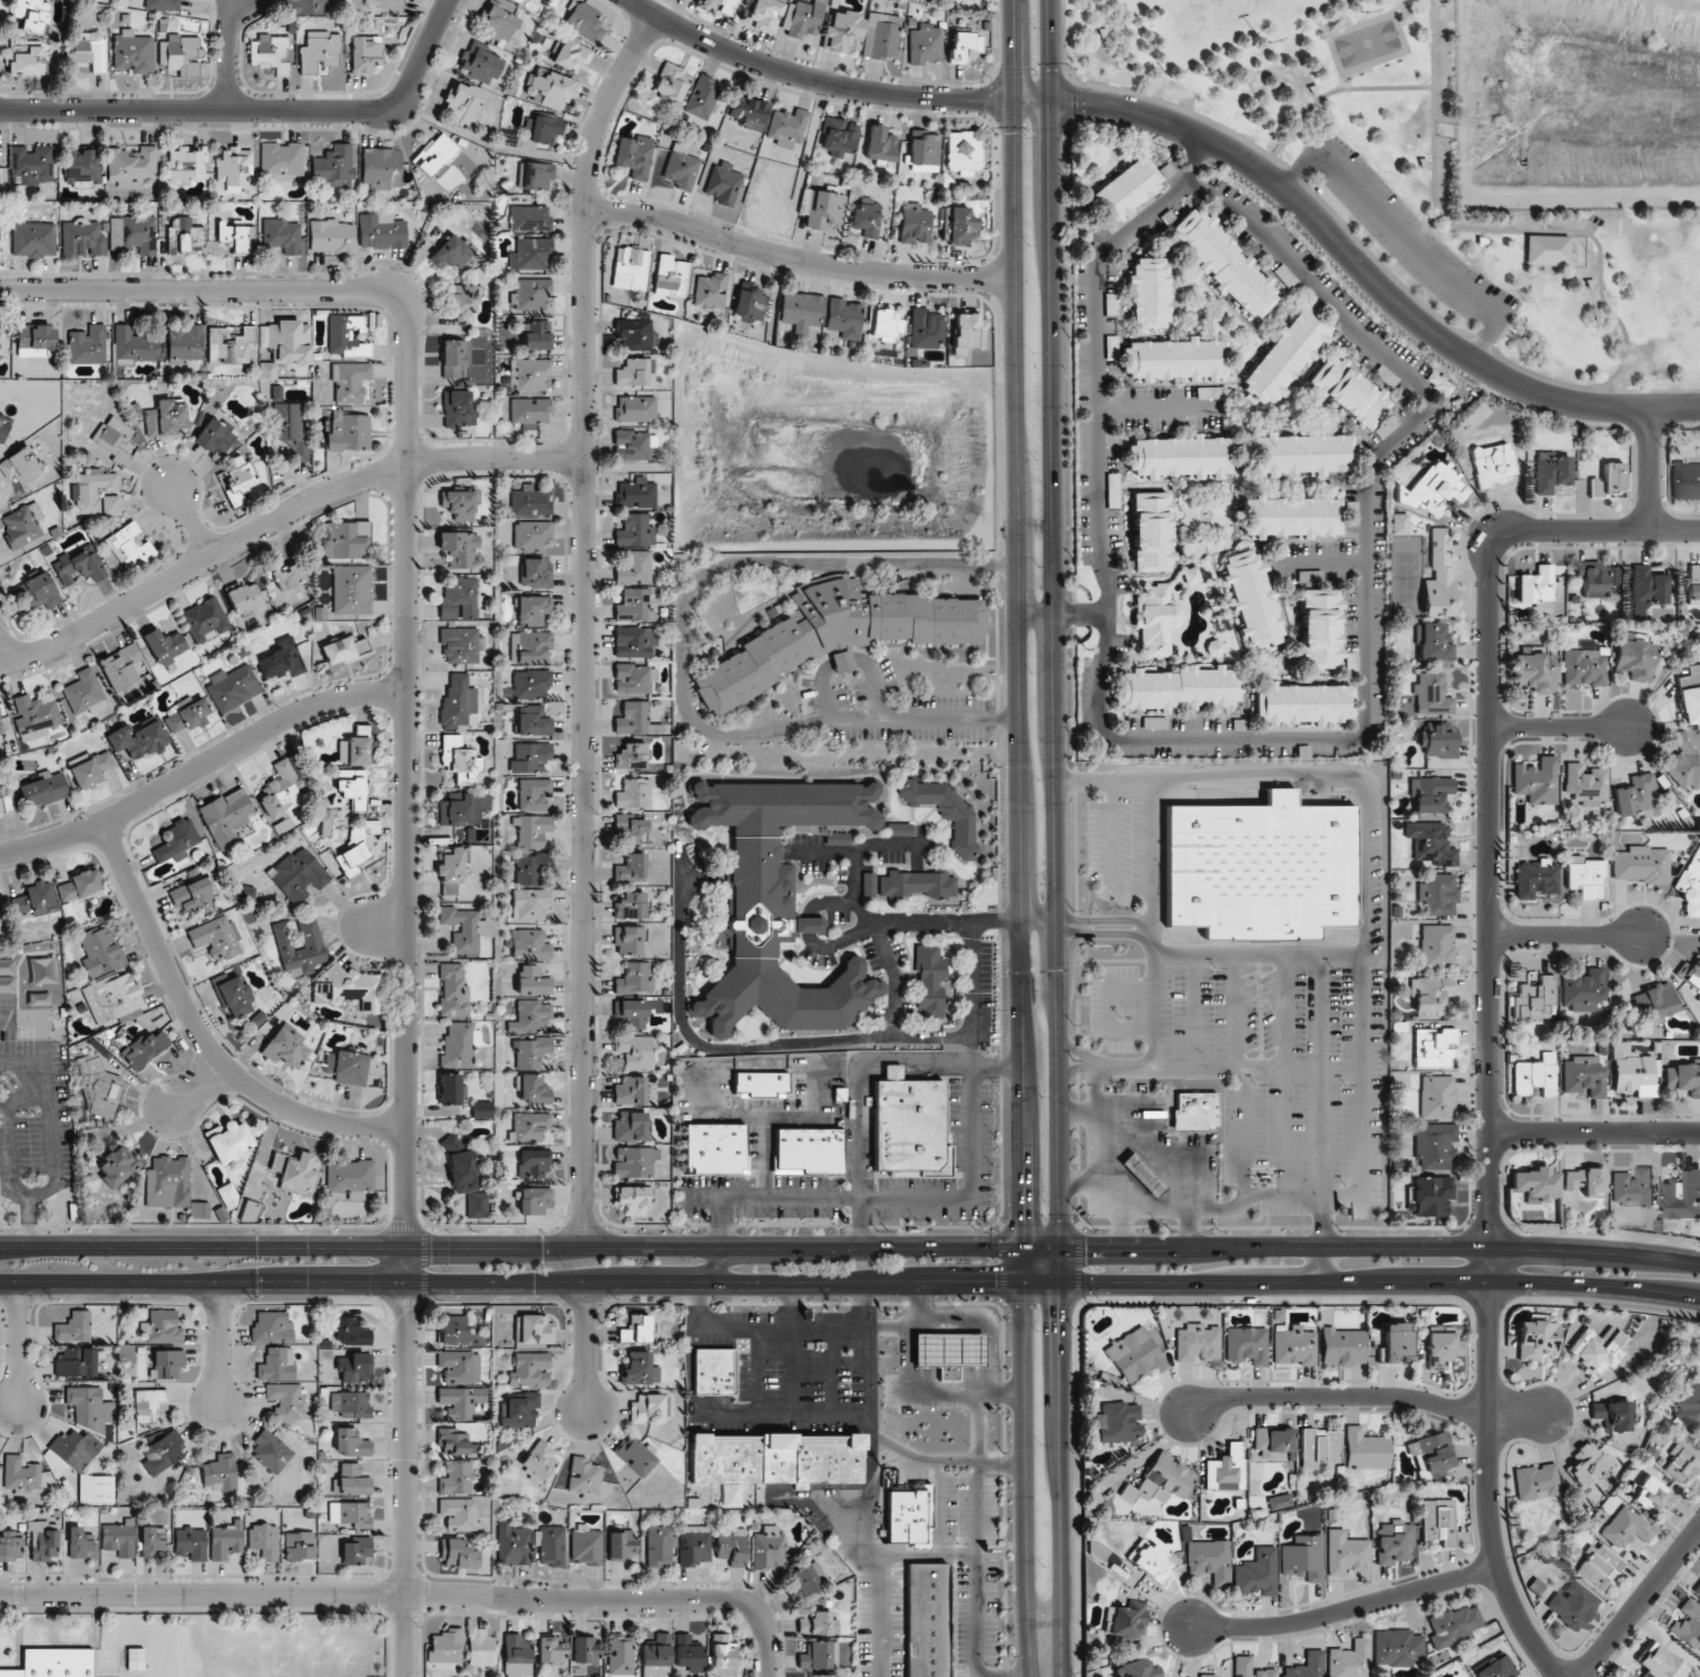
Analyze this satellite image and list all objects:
building: (517, 0)
building: (529, 0)
building: (163, 4)
building: (391, 4)
building: (727, 6)
building: (311, 7)
building: (32, 13)
building: (765, 16)
building: (803, 19)
building: (586, 21)
building: (500, 23)
building: (843, 31)
building: (881, 38)
park: (1368, 43)
building: (925, 45)
building: (965, 47)
building: (88, 51)
building: (134, 51)
building: (319, 51)
building: (271, 52)
building: (365, 53)
building: (182, 55)
road: (228, 55)
building: (573, 57)
building: (28, 62)
building: (481, 63)
traffic signals: (1017, 66)
building: (671, 81)
road: (1341, 84)
building: (550, 88)
road: (1336, 89)
traffic signals: (979, 101)
building: (461, 102)
traffic signals: (1081, 102)
road: (257, 110)
building: (749, 112)
building: (787, 127)
building: (839, 137)
road: (1199, 137)
traffic signals: (1052, 138)
building: (880, 144)
building: (964, 150)
building: (924, 151)
building: (434, 154)
building: (635, 156)
building: (281, 160)
road: (1192, 161)
building: (185, 164)
building: (31, 165)
building: (379, 166)
building: (82, 167)
building: (333, 167)
building: (234, 168)
building: (681, 169)
building: (535, 176)
building: (394, 177)
park: (1413, 177)
building: (723, 184)
building: (1127, 188)
road: (1316, 195)
building: (529, 218)
building: (866, 218)
building: (0, 219)
building: (915, 224)
building: (961, 226)
building: (381, 231)
road: (1498, 231)
road: (1544, 234)
building: (133, 235)
building: (184, 235)
building: (281, 235)
building: (238, 236)
building: (331, 236)
building: (82, 238)
building: (33, 239)
road: (1405, 239)
building: (1546, 251)
building: (451, 253)
building: (531, 254)
road: (799, 258)
building: (1224, 264)
building: (631, 268)
building: (671, 276)
building: (710, 288)
building: (1150, 293)
building: (531, 294)
building: (463, 303)
building: (750, 304)
building: (801, 310)
building: (843, 318)
building: (883, 323)
building: (926, 330)
building: (968, 332)
building: (346, 335)
building: (537, 335)
building: (635, 335)
building: (2, 340)
building: (36, 341)
building: (186, 342)
building: (216, 344)
building: (244, 344)
building: (87, 345)
building: (134, 345)
building: (286, 345)
building: (453, 357)
building: (1286, 357)
road: (1389, 357)
building: (1173, 360)
building: (634, 372)
building: (533, 374)
building: (350, 381)
building: (1439, 384)
building: (1348, 392)
road: (1159, 408)
building: (457, 409)
building: (636, 409)
building: (3, 428)
building: (291, 430)
building: (349, 431)
building: (216, 437)
building: (116, 439)
building: (635, 445)
building: (1302, 454)
building: (1181, 458)
building: (1493, 463)
building: (21, 465)
road: (1651, 470)
building: (1551, 472)
building: (240, 480)
building: (1608, 481)
building: (1686, 481)
building: (1434, 489)
building: (86, 492)
building: (636, 493)
building: (530, 501)
building: (460, 503)
building: (1291, 517)
road: (279, 518)
road: (192, 522)
building: (1399, 523)
building: (22, 524)
building: (636, 530)
building: (1151, 532)
building: (530, 535)
building: (349, 540)
building: (130, 547)
building: (460, 549)
building: (79, 567)
building: (634, 568)
building: (535, 572)
building: (289, 577)
building: (1591, 577)
building: (1439, 579)
building: (1693, 585)
building: (1536, 587)
building: (352, 589)
building: (1647, 589)
building: (40, 591)
building: (245, 598)
building: (1252, 600)
building: (634, 606)
building: (535, 610)
road: (1037, 617)
building: (205, 619)
building: (1156, 619)
road: (586, 624)
building: (1319, 628)
building: (834, 634)
building: (634, 641)
building: (1433, 643)
building: (361, 644)
building: (166, 645)
building: (461, 645)
building: (529, 646)
road: (4, 650)
building: (339, 650)
road: (680, 651)
building: (281, 658)
building: (1635, 658)
building: (842, 660)
building: (120, 667)
building: (1583, 667)
building: (634, 678)
building: (531, 684)
building: (233, 687)
building: (1176, 688)
building: (84, 694)
building: (1432, 695)
building: (1690, 695)
building: (457, 702)
building: (1302, 704)
building: (187, 714)
building: (35, 716)
building: (533, 720)
road: (1560, 727)
road: (1489, 736)
building: (138, 739)
building: (1438, 741)
building: (353, 751)
building: (631, 756)
building: (530, 757)
building: (459, 758)
building: (1684, 762)
road: (202, 766)
building: (89, 768)
building: (1537, 781)
building: (1584, 786)
building: (352, 787)
road: (407, 787)
building: (283, 788)
building: (634, 793)
building: (1430, 794)
building: (534, 795)
building: (1637, 795)
building: (462, 810)
building: (946, 812)
building: (226, 816)
building: (632, 830)
building: (533, 831)
road: (1019, 840)
road: (1055, 840)
building: (176, 841)
building: (1430, 843)
building: (358, 844)
road: (1150, 853)
building: (1642, 865)
building: (529, 869)
building: (632, 869)
building: (1258, 869)
building: (451, 871)
building: (299, 875)
road: (1366, 875)
building: (1585, 876)
building: (1535, 877)
building: (868, 884)
building: (916, 884)
building: (80, 885)
building: (1691, 885)
building: (1438, 894)
building: (195, 896)
building: (36, 899)
building: (530, 903)
building: (776, 903)
building: (631, 906)
road: (1037, 923)
road: (381, 926)
building: (466, 929)
building: (310, 935)
road: (1567, 935)
building: (215, 938)
building: (628, 940)
building: (530, 944)
building: (1437, 945)
building: (100, 950)
road: (882, 950)
building: (1690, 973)
building: (634, 978)
building: (930, 980)
building: (533, 981)
building: (350, 988)
building: (453, 990)
building: (1583, 990)
building: (233, 993)
building: (1432, 993)
road: (973, 996)
building: (1535, 998)
building: (114, 999)
building: (1699, 1000)
building: (1660, 1001)
road: (1163, 1010)
building: (629, 1013)
building: (533, 1018)
road: (199, 1037)
building: (459, 1043)
road: (713, 1047)
building: (144, 1048)
building: (285, 1048)
building: (1433, 1048)
building: (635, 1051)
building: (533, 1052)
road: (1205, 1065)
building: (348, 1067)
road: (890, 1070)
road: (936, 1070)
building: (1632, 1071)
building: (1535, 1076)
building: (1583, 1076)
building: (1683, 1078)
building: (758, 1085)
building: (100, 1087)
road: (194, 1089)
building: (451, 1089)
building: (534, 1090)
building: (629, 1090)
building: (1437, 1097)
building: (481, 1109)
building: (1192, 1110)
road: (1076, 1114)
building: (530, 1126)
road: (857, 1126)
building: (906, 1126)
building: (631, 1127)
road: (1595, 1135)
building: (228, 1140)
building: (1435, 1145)
building: (712, 1149)
building: (804, 1151)
building: (635, 1161)
building: (534, 1164)
building: (296, 1170)
building: (115, 1173)
building: (1143, 1174)
gas station: (1140, 1175)
building: (465, 1178)
building: (350, 1179)
road: (1077, 1179)
building: (167, 1181)
building: (1585, 1181)
building: (1536, 1185)
road: (1357, 1188)
building: (1633, 1188)
building: (228, 1196)
building: (1432, 1196)
building: (1682, 1196)
building: (632, 1199)
road: (906, 1199)
building: (535, 1200)
road: (1108, 1205)
building: (201, 1209)
building: (248, 1212)
traffic signals: (1024, 1220)
road: (1321, 1220)
road: (859, 1224)
road: (1122, 1228)
road: (1191, 1228)
traffic signals: (1085, 1247)
road: (850, 1248)
road: (1321, 1265)
road: (716, 1266)
road: (850, 1283)
traffic signals: (993, 1283)
traffic signals: (1058, 1308)
road: (986, 1324)
building: (271, 1326)
road: (809, 1326)
building: (74, 1327)
building: (163, 1327)
building: (636, 1328)
building: (453, 1330)
building: (536, 1330)
building: (352, 1332)
building: (1537, 1337)
building: (1397, 1342)
road: (216, 1343)
building: (1198, 1343)
road: (19, 1344)
building: (1247, 1345)
building: (1294, 1346)
building: (1342, 1346)
building: (1443, 1347)
road: (586, 1349)
building: (1598, 1349)
building: (946, 1351)
building: (1135, 1355)
gas station: (947, 1359)
building: (76, 1362)
building: (167, 1363)
building: (276, 1364)
building: (460, 1365)
building: (354, 1367)
building: (530, 1370)
building: (639, 1370)
building: (712, 1371)
road: (791, 1381)
road: (936, 1390)
road: (1360, 1396)
building: (285, 1400)
building: (461, 1400)
building: (148, 1404)
building: (351, 1404)
building: (89, 1408)
building: (1689, 1408)
building: (647, 1409)
building: (520, 1411)
road: (1489, 1413)
building: (1612, 1415)
building: (1118, 1422)
building: (1273, 1440)
building: (351, 1442)
building: (456, 1442)
building: (1319, 1448)
building: (75, 1449)
building: (1366, 1450)
building: (271, 1451)
building: (162, 1452)
building: (636, 1455)
building: (1432, 1455)
building: (773, 1459)
building: (539, 1460)
road: (941, 1460)
building: (1682, 1461)
building: (1586, 1464)
building: (1225, 1469)
building: (20, 1475)
building: (584, 1477)
building: (457, 1479)
road: (867, 1480)
building: (1162, 1480)
building: (351, 1481)
building: (1536, 1482)
building: (96, 1489)
building: (1654, 1497)
building: (1279, 1501)
building: (350, 1513)
building: (459, 1513)
building: (908, 1517)
building: (1438, 1521)
road: (979, 1534)
building: (118, 1538)
building: (43, 1540)
building: (226, 1540)
building: (264, 1540)
building: (79, 1542)
building: (153, 1542)
building: (190, 1542)
building: (512, 1543)
building: (1394, 1543)
building: (622, 1544)
building: (694, 1544)
building: (10, 1546)
building: (300, 1546)
building: (551, 1546)
building: (587, 1546)
building: (660, 1546)
building: (732, 1547)
building: (769, 1549)
building: (1097, 1550)
building: (356, 1551)
building: (1346, 1553)
building: (458, 1555)
building: (1303, 1558)
building: (1151, 1560)
building: (1210, 1560)
building: (1598, 1568)
building: (1257, 1573)
building: (804, 1579)
building: (1697, 1589)
road: (414, 1595)
road: (1641, 1604)
building: (1572, 1605)
road: (1347, 1610)
building: (924, 1620)
building: (1124, 1620)
building: (818, 1624)
building: (1687, 1624)
building: (1454, 1626)
building: (446, 1646)
building: (481, 1647)
building: (1396, 1648)
building: (585, 1649)
building: (553, 1650)
building: (687, 1651)
building: (621, 1655)
building: (517, 1656)
building: (722, 1656)
building: (819, 1656)
building: (657, 1657)
building: (1349, 1660)
building: (53, 1663)
building: (1660, 1663)
building: (1307, 1666)
building: (1250, 1668)
building: (1497, 1668)
building: (1136, 1669)
building: (821, 1676)
building: (1210, 1676)

